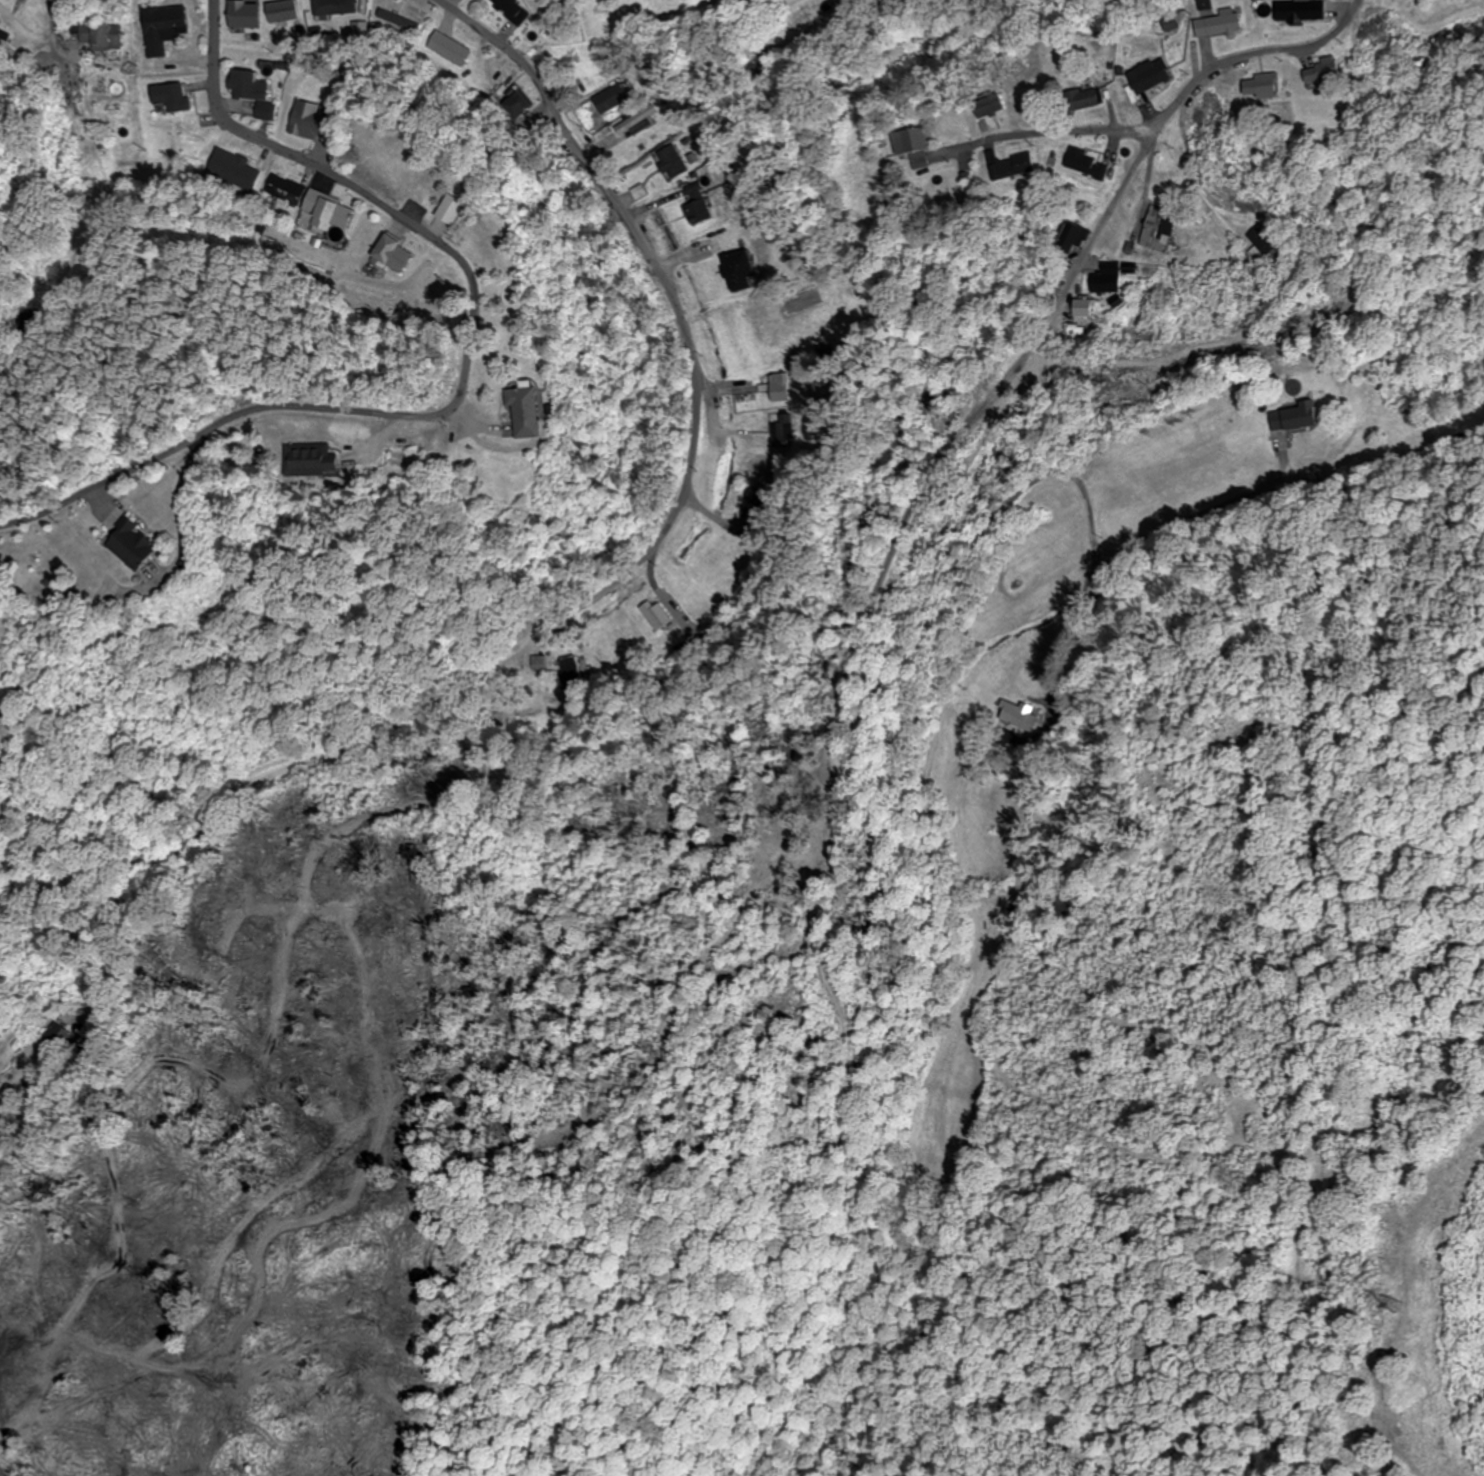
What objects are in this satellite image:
road: (1170, 120)
road: (1061, 132)
road: (465, 376)
road: (612, 583)
road: (859, 725)
power tower: (687, 919)
power tower: (1393, 1301)

